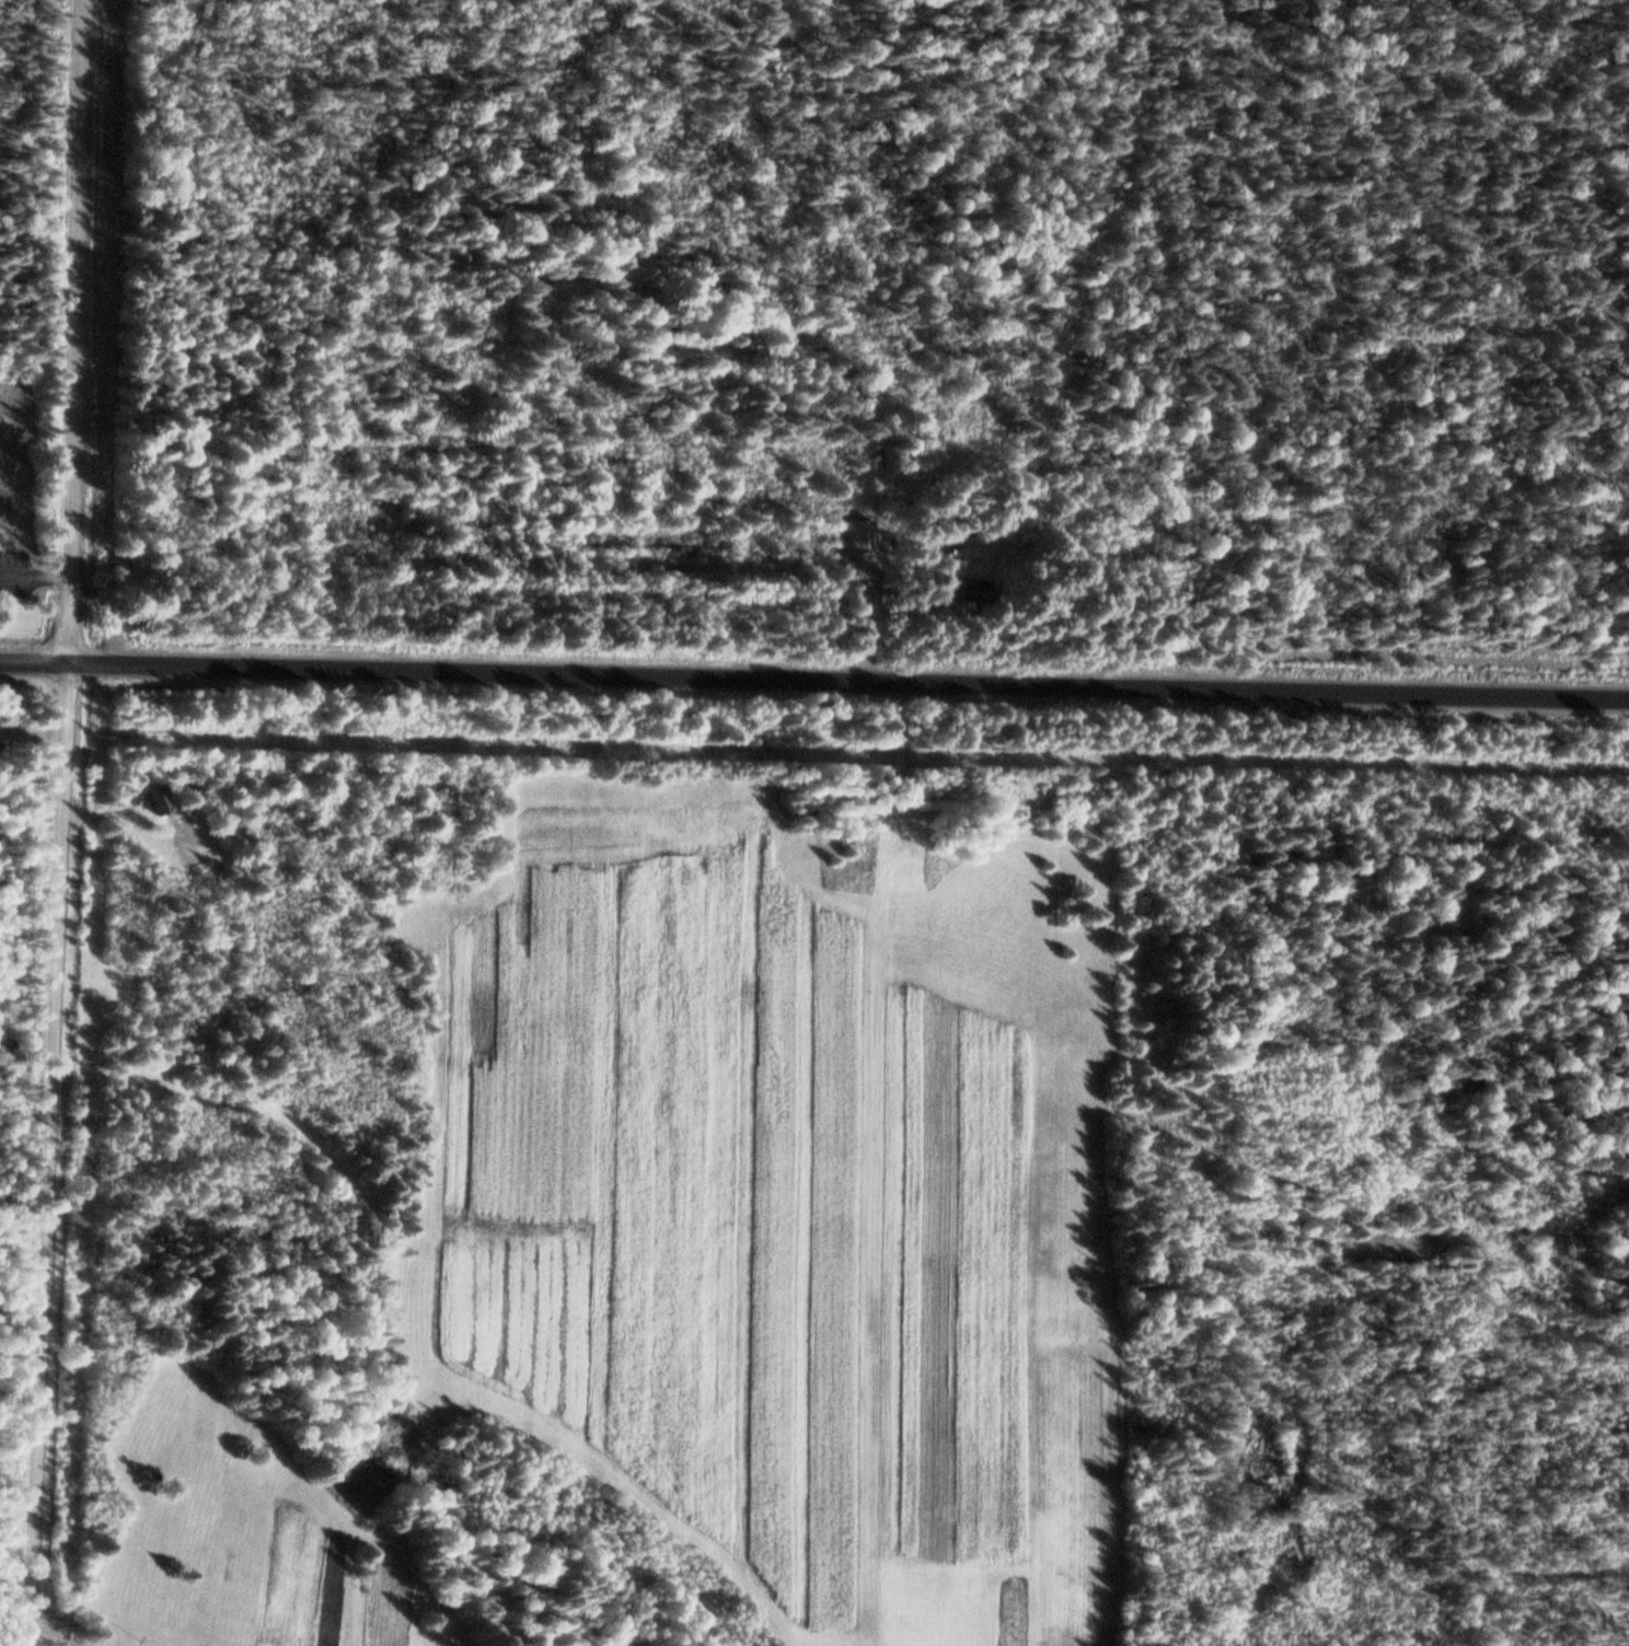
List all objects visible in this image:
building: (963, 589)
road: (35, 663)
road: (850, 681)
building: (161, 801)
road: (65, 823)

